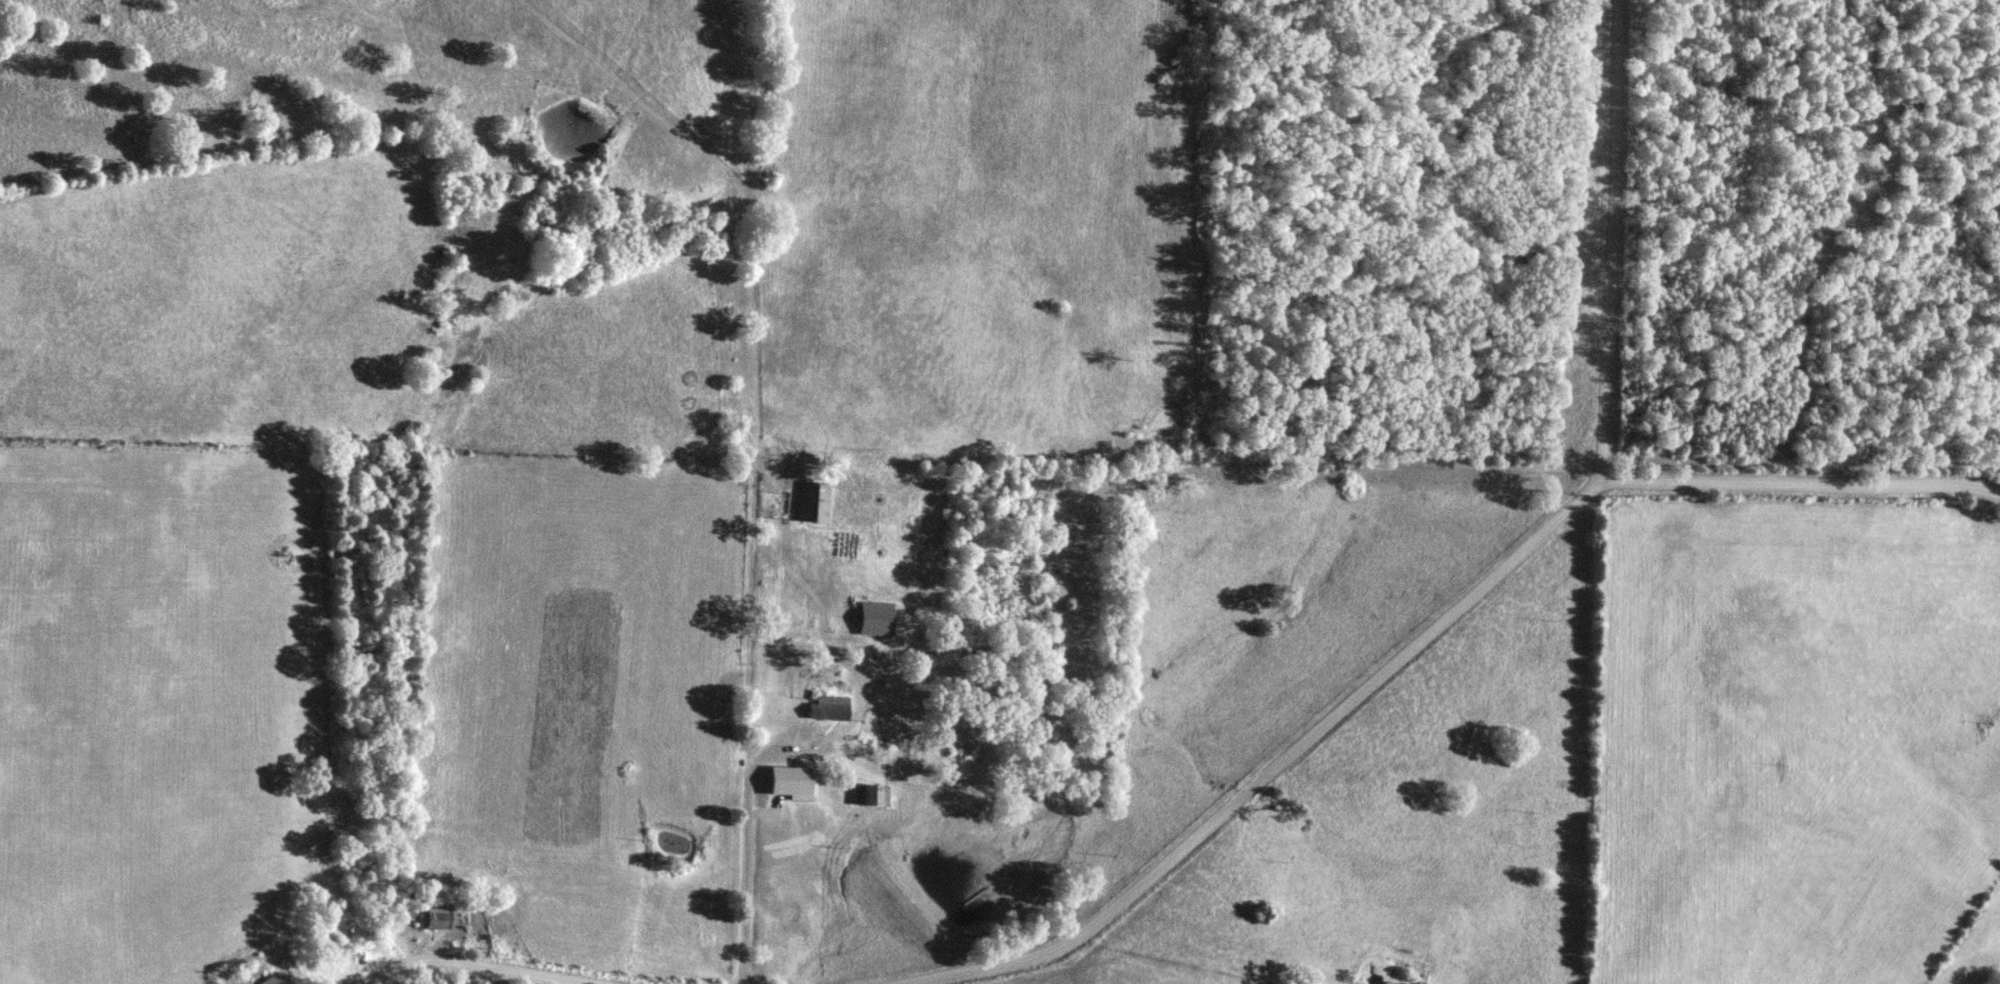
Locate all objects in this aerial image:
road: (1797, 485)
building: (815, 504)
road: (1457, 612)
building: (878, 619)
road: (858, 666)
building: (831, 709)
building: (796, 783)
building: (884, 798)
road: (750, 871)
road: (468, 966)
building: (278, 979)

